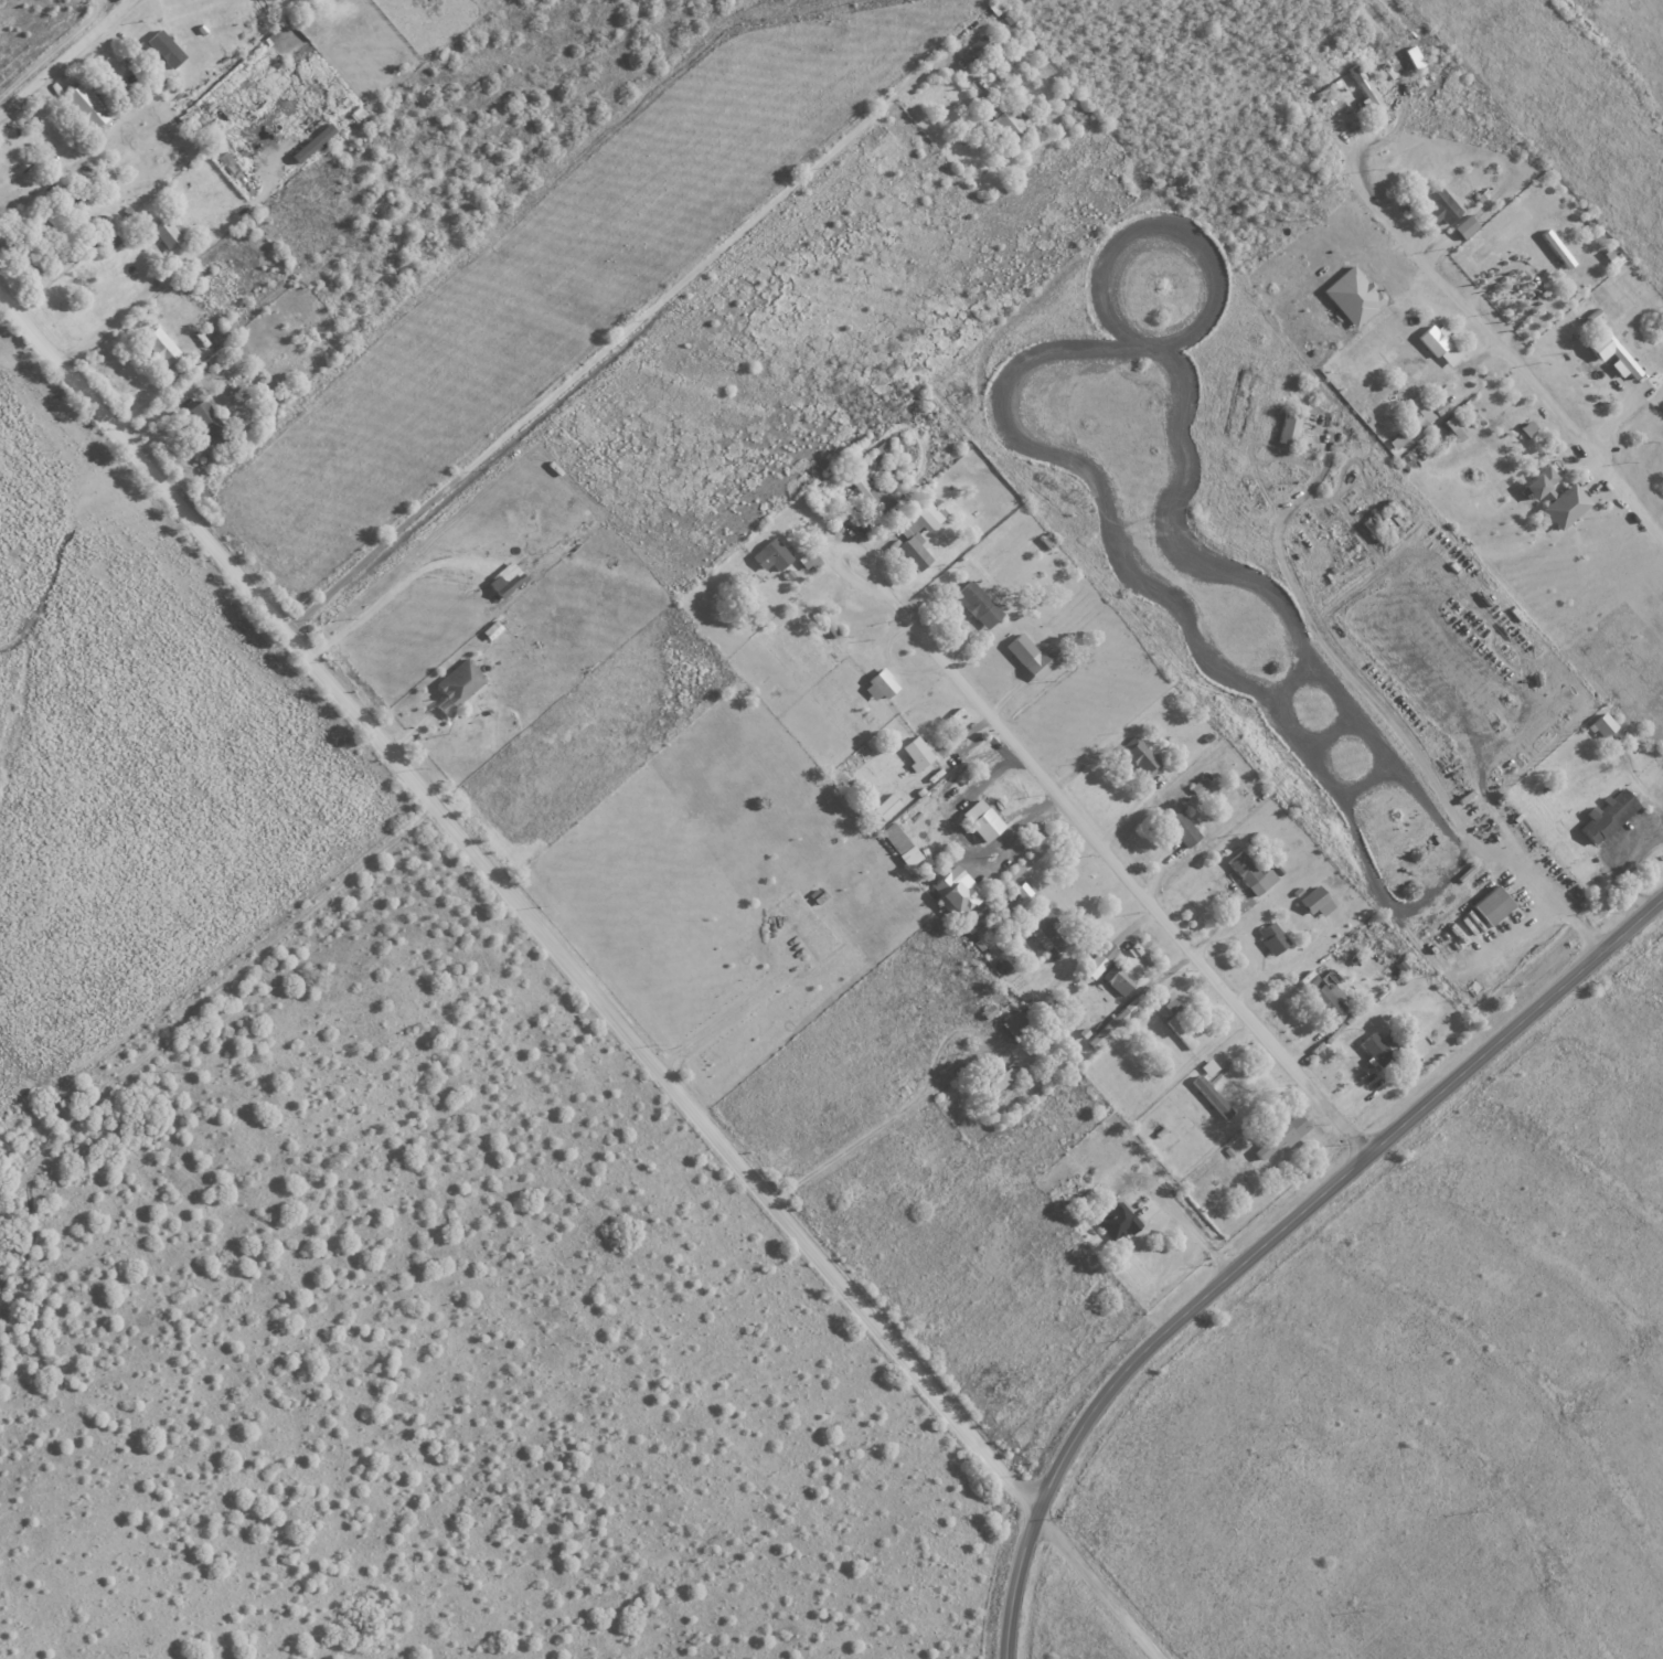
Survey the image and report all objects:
building: (993, 6)
building: (160, 49)
building: (973, 49)
road: (66, 59)
building: (1362, 89)
building: (86, 105)
building: (1002, 116)
building: (308, 143)
building: (73, 194)
building: (1438, 204)
building: (63, 224)
building: (1461, 226)
building: (162, 233)
building: (113, 241)
building: (1553, 247)
building: (1609, 256)
road: (157, 283)
building: (1348, 295)
road: (1488, 334)
building: (1437, 343)
building: (156, 344)
building: (1608, 353)
road: (600, 355)
building: (1427, 408)
building: (204, 421)
building: (1286, 427)
building: (1452, 427)
building: (880, 448)
building: (871, 494)
building: (1553, 497)
road: (1649, 514)
building: (915, 533)
building: (768, 554)
building: (806, 560)
building: (502, 579)
road: (390, 591)
building: (974, 604)
building: (1030, 656)
building: (456, 682)
building: (875, 685)
road: (1388, 717)
building: (1599, 724)
building: (914, 752)
building: (1138, 755)
building: (1195, 785)
building: (884, 806)
building: (1605, 816)
building: (977, 820)
building: (1179, 827)
building: (892, 838)
road: (1104, 846)
road: (1038, 850)
building: (1247, 872)
building: (950, 890)
road: (518, 902)
building: (1313, 902)
building: (1486, 905)
building: (1037, 928)
building: (1270, 937)
building: (1099, 960)
building: (1116, 979)
building: (1321, 993)
building: (1129, 1004)
building: (1170, 1006)
building: (984, 1011)
building: (1013, 1025)
building: (1180, 1033)
building: (1095, 1038)
building: (1377, 1046)
building: (1012, 1067)
building: (994, 1078)
road: (921, 1092)
building: (1280, 1136)
building: (1115, 1220)
road: (1191, 1229)
road: (1273, 1237)
road: (1099, 1583)

